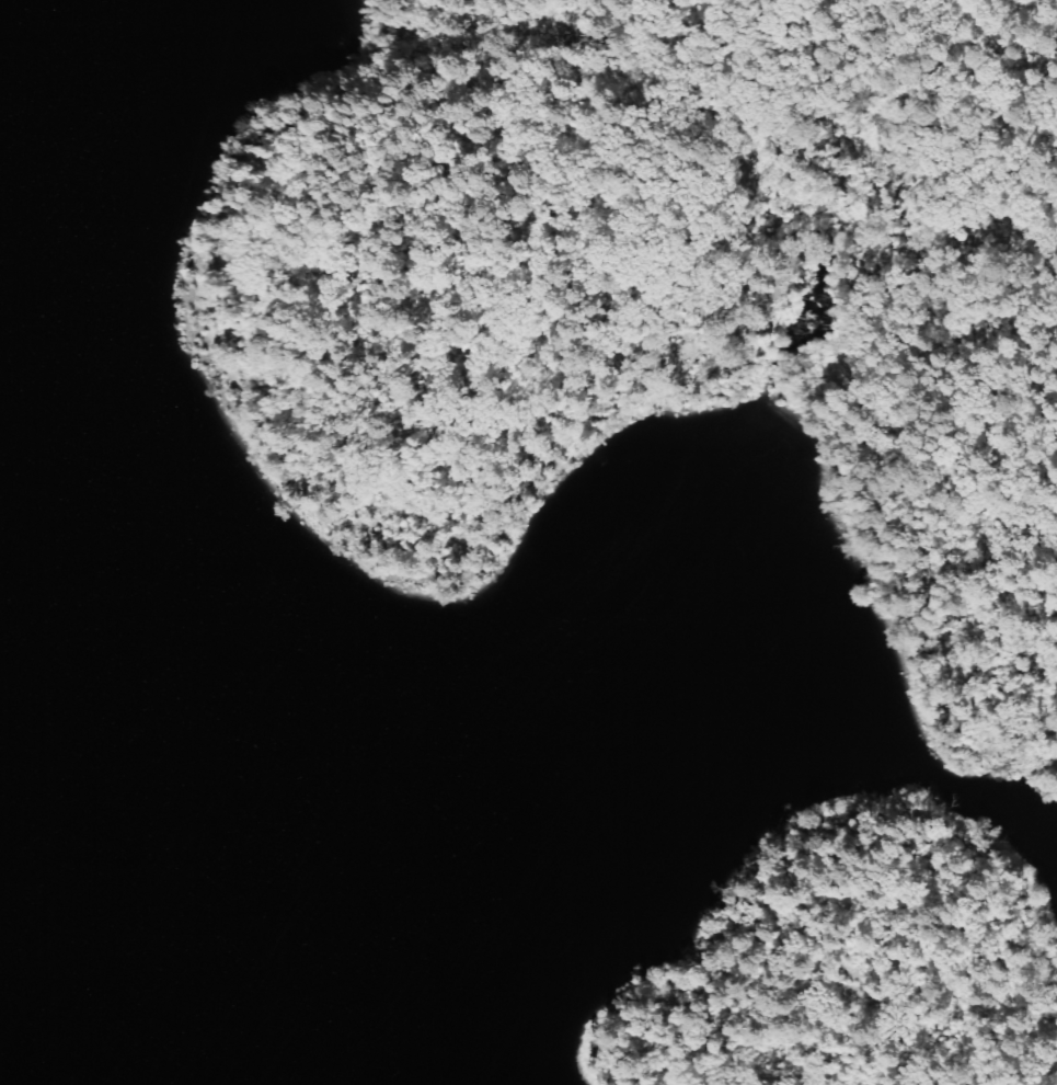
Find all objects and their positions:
road: (882, 1016)

